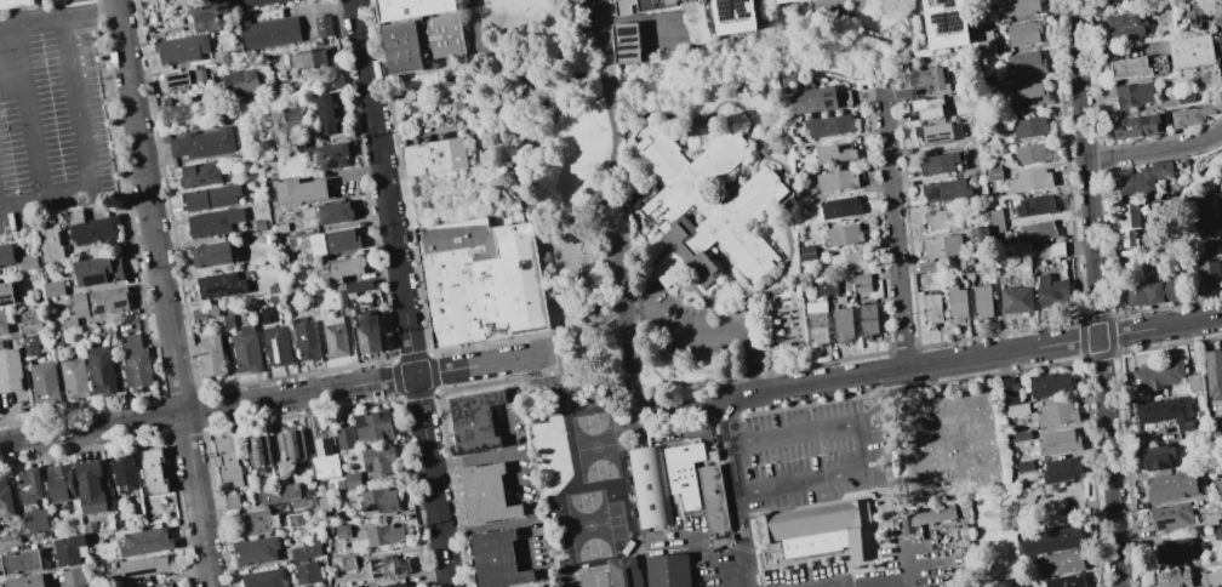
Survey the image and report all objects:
building: (783, 0)
building: (258, 1)
building: (798, 1)
building: (1110, 1)
building: (16, 2)
building: (213, 6)
road: (321, 6)
building: (1017, 6)
road: (603, 7)
rooftop solar panel: (725, 7)
building: (1203, 13)
building: (740, 16)
rooftop solar panel: (955, 17)
rooftop solar panel: (942, 19)
road: (59, 21)
building: (949, 22)
building: (205, 23)
building: (1125, 24)
building: (324, 25)
building: (695, 28)
road: (0, 32)
building: (273, 32)
building: (418, 33)
building: (1023, 33)
building: (626, 42)
building: (986, 44)
road: (2, 45)
road: (95, 46)
road: (491, 46)
building: (183, 50)
building: (1190, 52)
building: (1220, 52)
building: (314, 58)
road: (570, 61)
building: (1024, 64)
road: (98, 65)
building: (1130, 67)
road: (99, 74)
rooftop solar panel: (176, 78)
building: (175, 79)
building: (929, 79)
building: (240, 82)
rooftop solar panel: (177, 87)
rooftop solar panel: (829, 93)
building: (1132, 93)
road: (525, 95)
building: (1020, 96)
building: (1184, 97)
building: (817, 98)
road: (75, 104)
building: (927, 107)
building: (329, 110)
road: (28, 112)
road: (615, 114)
building: (1189, 115)
parking lot: (53, 119)
building: (284, 124)
building: (828, 125)
building: (1134, 125)
building: (1029, 126)
building: (936, 132)
rooftop solar panel: (946, 132)
rooftop solar panel: (930, 135)
rooftop solar panel: (938, 138)
building: (202, 142)
rooftop solar panel: (843, 147)
road: (1154, 150)
building: (333, 153)
building: (834, 153)
building: (1030, 153)
rooftop solar panel: (339, 155)
building: (434, 155)
rooftop solar panel: (326, 156)
building: (942, 161)
rooftop solar panel: (332, 164)
building: (1155, 170)
building: (993, 171)
building: (199, 173)
building: (1029, 179)
building: (1124, 179)
building: (836, 181)
road: (4, 183)
road: (601, 184)
building: (302, 189)
road: (538, 189)
building: (944, 189)
rooftop solar panel: (933, 193)
road: (44, 194)
building: (212, 196)
building: (1218, 204)
building: (1034, 205)
building: (840, 207)
building: (333, 211)
building: (706, 213)
building: (941, 218)
building: (215, 221)
building: (997, 221)
building: (1126, 222)
building: (91, 226)
road: (895, 232)
building: (1035, 232)
building: (843, 234)
building: (1221, 234)
building: (980, 236)
building: (48, 239)
building: (333, 240)
building: (942, 246)
building: (1050, 250)
building: (6, 253)
building: (212, 253)
building: (807, 253)
park: (558, 260)
building: (1206, 260)
building: (28, 262)
building: (846, 262)
road: (622, 263)
building: (346, 266)
building: (98, 269)
building: (480, 280)
rooftop solar panel: (96, 281)
building: (861, 281)
building: (218, 284)
building: (359, 286)
building: (827, 286)
road: (561, 287)
building: (52, 289)
building: (1157, 289)
building: (1049, 290)
building: (6, 293)
road: (162, 293)
road: (400, 293)
road: (1095, 293)
building: (1016, 300)
building: (358, 302)
building: (981, 302)
building: (97, 303)
rooftop solar panel: (121, 303)
building: (955, 303)
building: (931, 309)
building: (199, 312)
rooftop solar panel: (99, 313)
building: (228, 320)
parking lot: (687, 320)
building: (867, 320)
building: (2, 321)
building: (816, 323)
building: (841, 323)
building: (29, 327)
building: (370, 332)
road: (714, 332)
building: (308, 338)
building: (336, 338)
building: (57, 340)
building: (29, 344)
building: (276, 344)
building: (246, 347)
rooftop solar panel: (276, 351)
building: (212, 353)
road: (972, 357)
road: (627, 360)
building: (135, 363)
building: (10, 370)
building: (101, 370)
building: (1214, 374)
building: (1158, 375)
building: (74, 378)
building: (45, 382)
building: (1193, 382)
building: (1050, 384)
building: (1007, 392)
road: (270, 398)
road: (578, 405)
building: (1015, 409)
road: (683, 410)
building: (1165, 412)
building: (1056, 414)
building: (474, 421)
building: (373, 424)
building: (1018, 437)
building: (344, 438)
park: (954, 441)
building: (1058, 441)
building: (296, 445)
park: (594, 446)
road: (860, 446)
building: (322, 449)
building: (259, 451)
road: (510, 452)
building: (1158, 457)
road: (469, 458)
building: (230, 461)
building: (379, 461)
building: (1024, 465)
building: (1061, 469)
building: (153, 471)
building: (125, 472)
building: (683, 472)
building: (352, 479)
building: (59, 483)
building: (29, 485)
building: (90, 486)
building: (649, 486)
building: (1218, 486)
building: (1170, 488)
road: (563, 489)
road: (737, 492)
building: (485, 494)
building: (285, 496)
building: (5, 497)
building: (378, 500)
building: (713, 501)
building: (232, 502)
building: (322, 503)
road: (1066, 508)
building: (931, 515)
building: (1170, 515)
park: (1026, 517)
building: (1216, 519)
building: (35, 520)
building: (296, 522)
building: (120, 523)
building: (250, 524)
park: (593, 524)
building: (90, 526)
road: (481, 526)
building: (816, 530)
building: (342, 531)
building: (383, 534)
building: (1217, 534)
building: (10, 537)
building: (1050, 540)
building: (144, 541)
road: (526, 543)
building: (960, 543)
building: (68, 549)
building: (258, 551)
building: (305, 551)
building: (1172, 551)
road: (907, 558)
building: (496, 559)
building: (21, 562)
building: (1062, 562)
building: (144, 565)
building: (388, 566)
building: (667, 570)
building: (622, 571)
building: (305, 572)
building: (75, 577)
building: (1174, 577)
building: (1210, 577)
building: (265, 579)
park: (589, 580)
building: (24, 581)
building: (1064, 581)
road: (872, 583)
road: (909, 583)
building: (158, 585)
building: (394, 585)
building: (1218, 585)
building: (322, 586)
building: (355, 586)
road: (732, 586)

